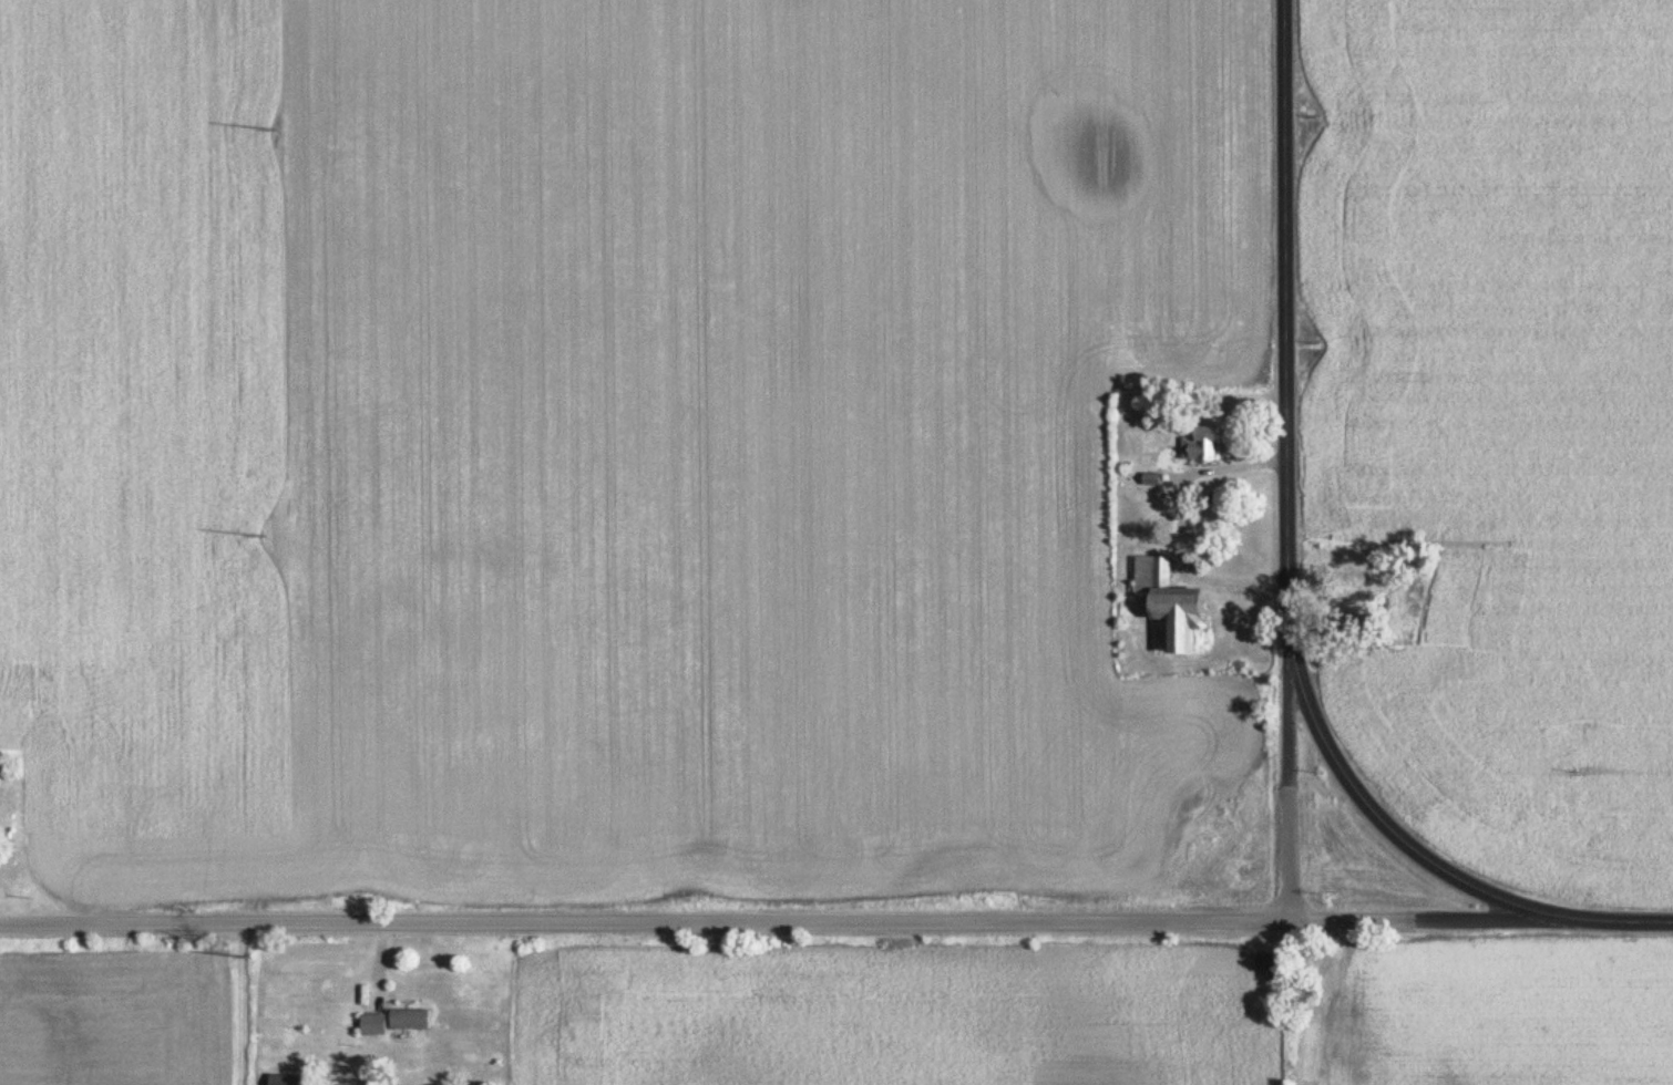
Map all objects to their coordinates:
building: (1205, 446)
road: (1291, 462)
building: (1154, 480)
road: (1174, 521)
building: (1179, 606)
road: (1390, 826)
road: (836, 916)
road: (230, 1002)
building: (397, 1023)
building: (295, 1081)

